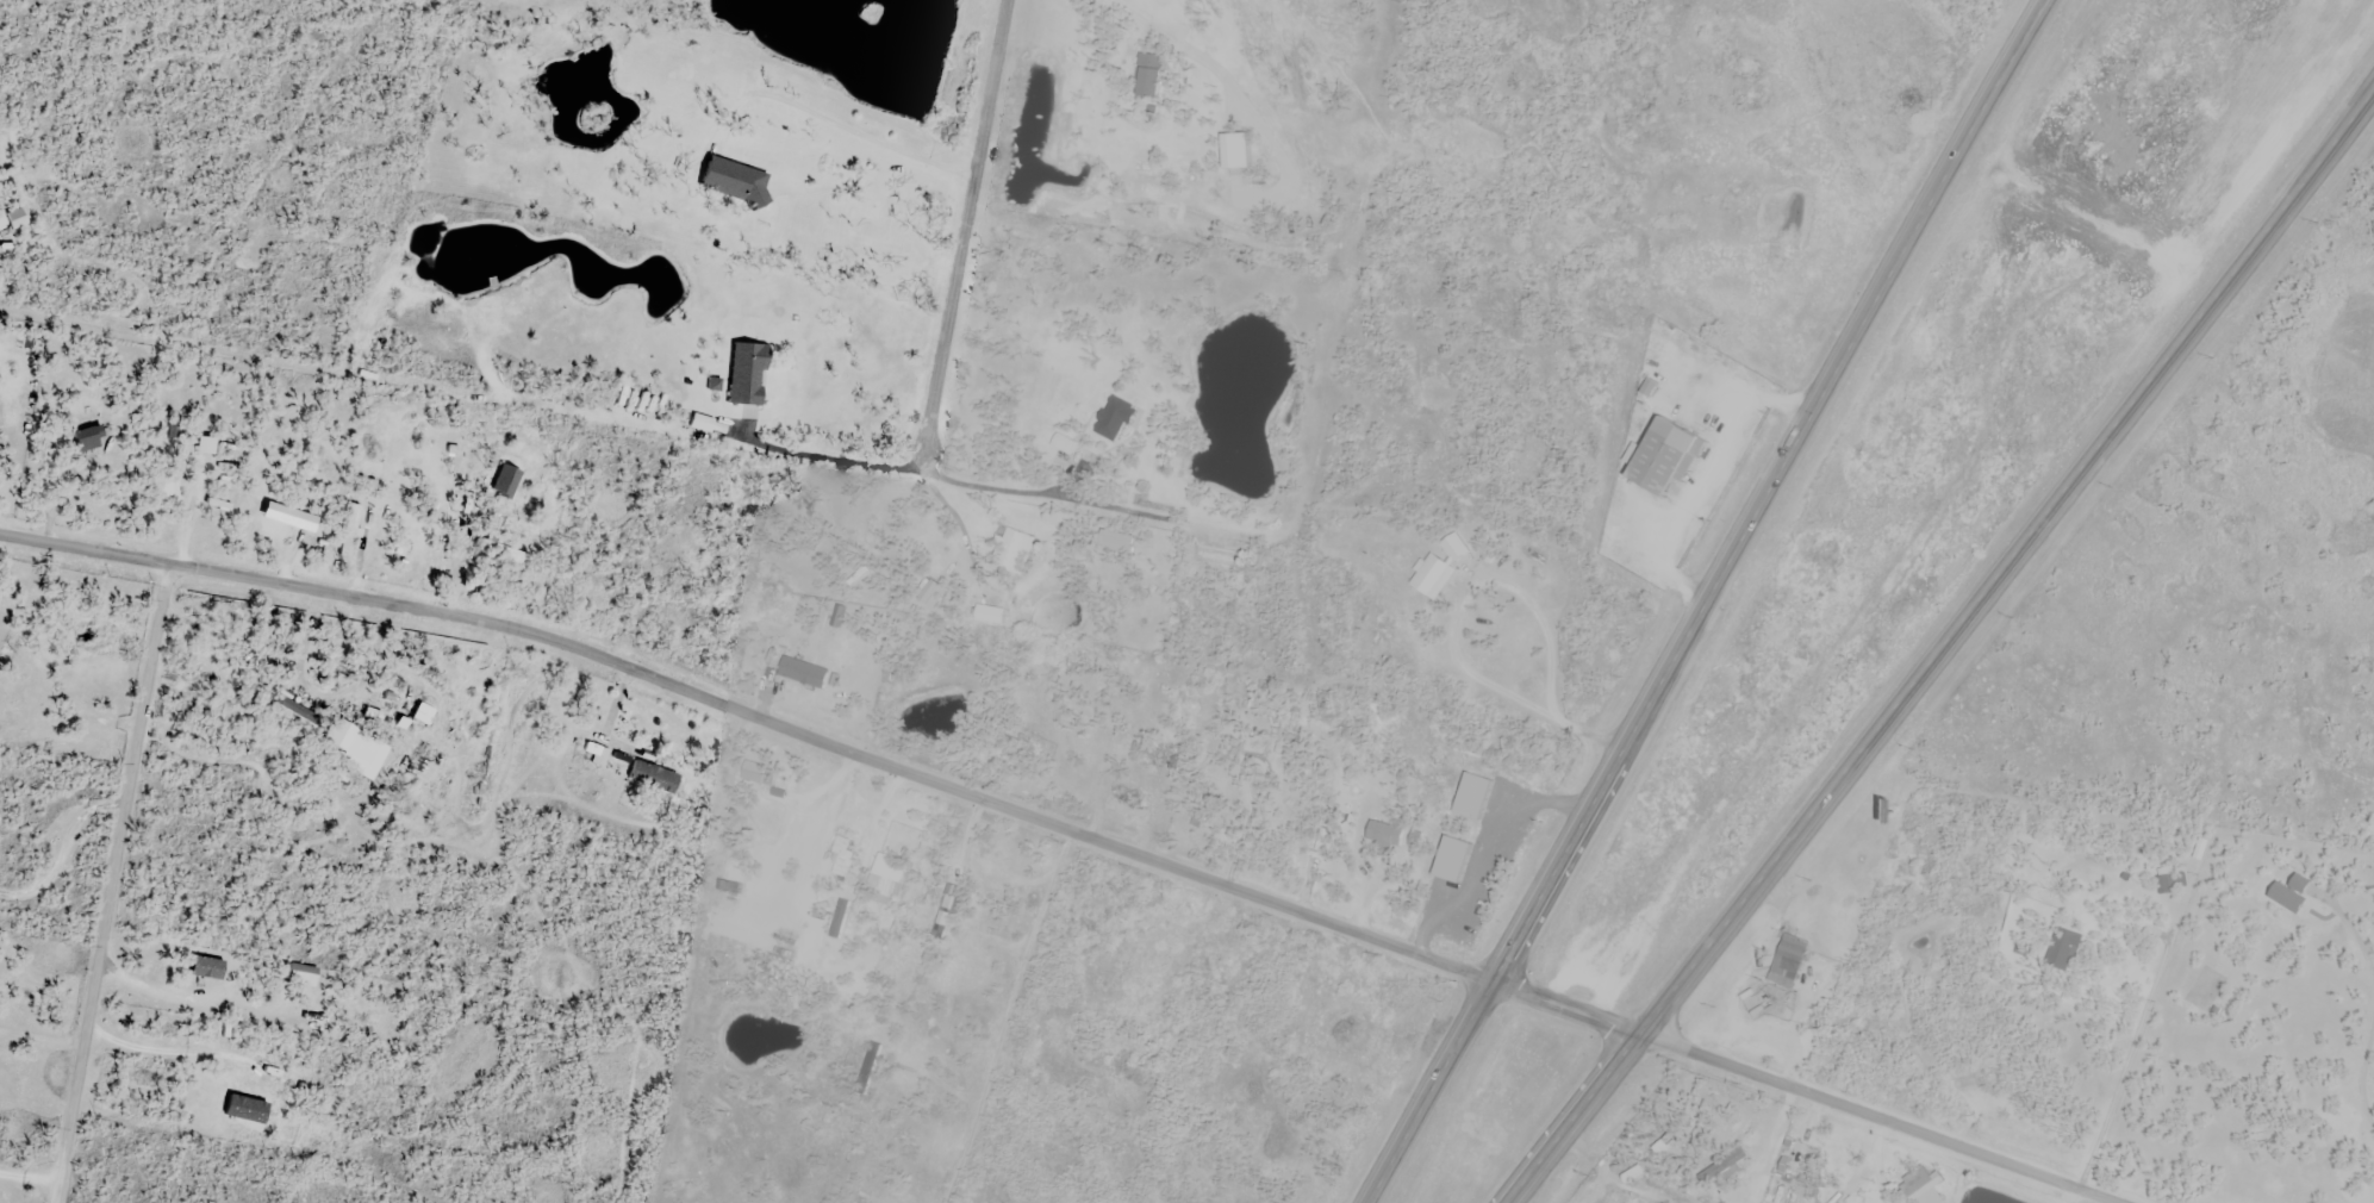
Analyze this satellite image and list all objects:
road: (1141, 19)
building: (1145, 77)
road: (839, 125)
building: (734, 182)
building: (13, 219)
road: (968, 224)
building: (743, 374)
building: (1113, 419)
building: (82, 440)
building: (1064, 444)
building: (1660, 457)
building: (177, 467)
road: (1699, 469)
road: (1029, 493)
building: (286, 517)
building: (348, 531)
building: (1453, 547)
building: (1010, 548)
building: (497, 554)
building: (1213, 557)
building: (1432, 578)
road: (1705, 600)
building: (989, 615)
road: (1451, 625)
road: (1942, 644)
building: (802, 674)
building: (19, 698)
road: (830, 743)
building: (357, 749)
building: (593, 755)
building: (647, 775)
building: (753, 781)
building: (1124, 802)
building: (1383, 835)
building: (840, 846)
building: (2201, 850)
building: (887, 878)
road: (112, 884)
building: (2065, 952)
building: (1788, 960)
building: (767, 972)
building: (191, 973)
building: (295, 974)
building: (1753, 1002)
road: (1777, 1083)
road: (1881, 1163)
road: (2014, 1167)
building: (1920, 1182)
road: (2077, 1197)

